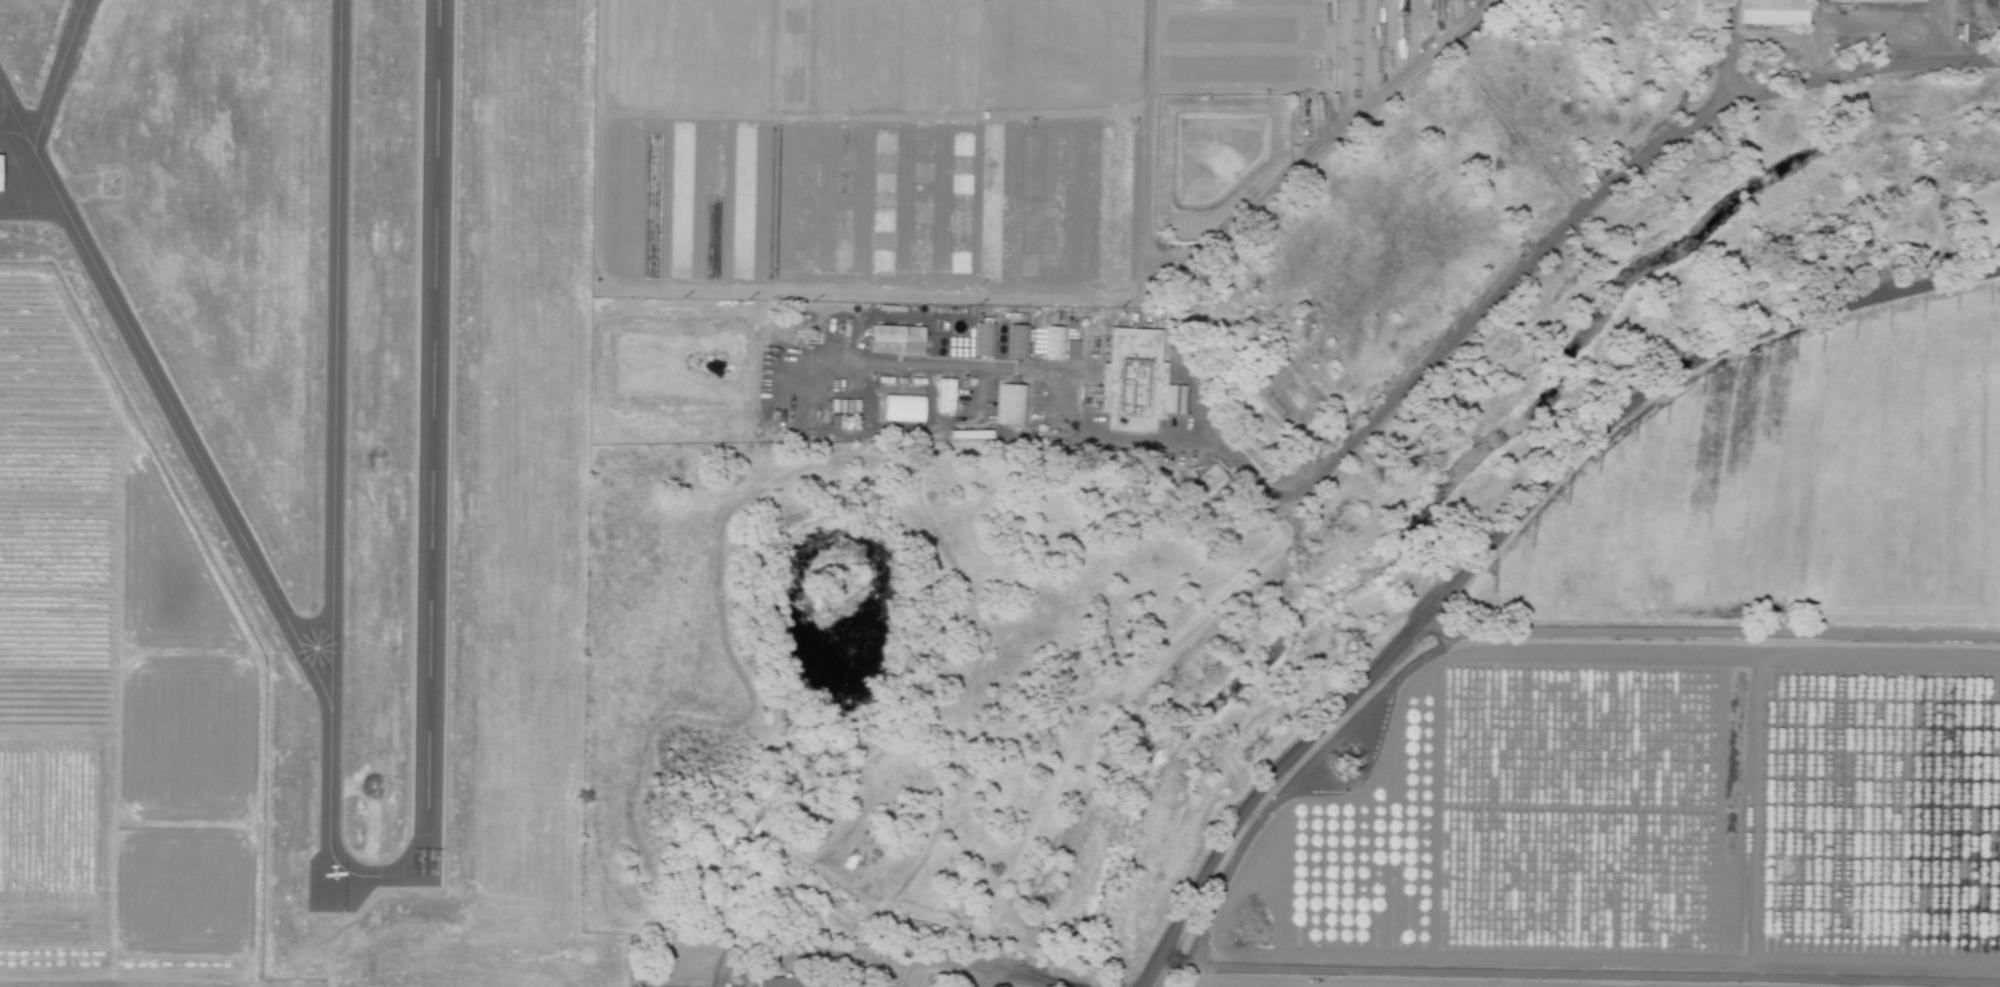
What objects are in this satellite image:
building: (1878, 1)
road: (1816, 11)
building: (1774, 13)
road: (1848, 23)
road: (1919, 24)
road: (1949, 30)
road: (1770, 36)
road: (1725, 51)
airport taxiway: (56, 73)
road: (1146, 138)
road: (1328, 141)
airport apron: (29, 158)
building: (0, 165)
road: (1589, 200)
road: (879, 293)
building: (985, 339)
building: (1018, 340)
building: (899, 341)
building: (1059, 344)
road: (1055, 379)
building: (1135, 379)
building: (945, 394)
airport taxiway: (164, 395)
building: (1013, 404)
building: (906, 409)
road: (953, 420)
building: (965, 433)
airport taxiway: (333, 437)
airport runway: (431, 443)
airport: (344, 456)
building: (1203, 482)
road: (1498, 531)
road: (1710, 634)
crop: (1697, 708)
airport taxiway: (376, 875)
road: (874, 953)
road: (910, 972)
road: (1579, 973)
road: (984, 977)
building: (784, 983)
road: (1071, 983)

